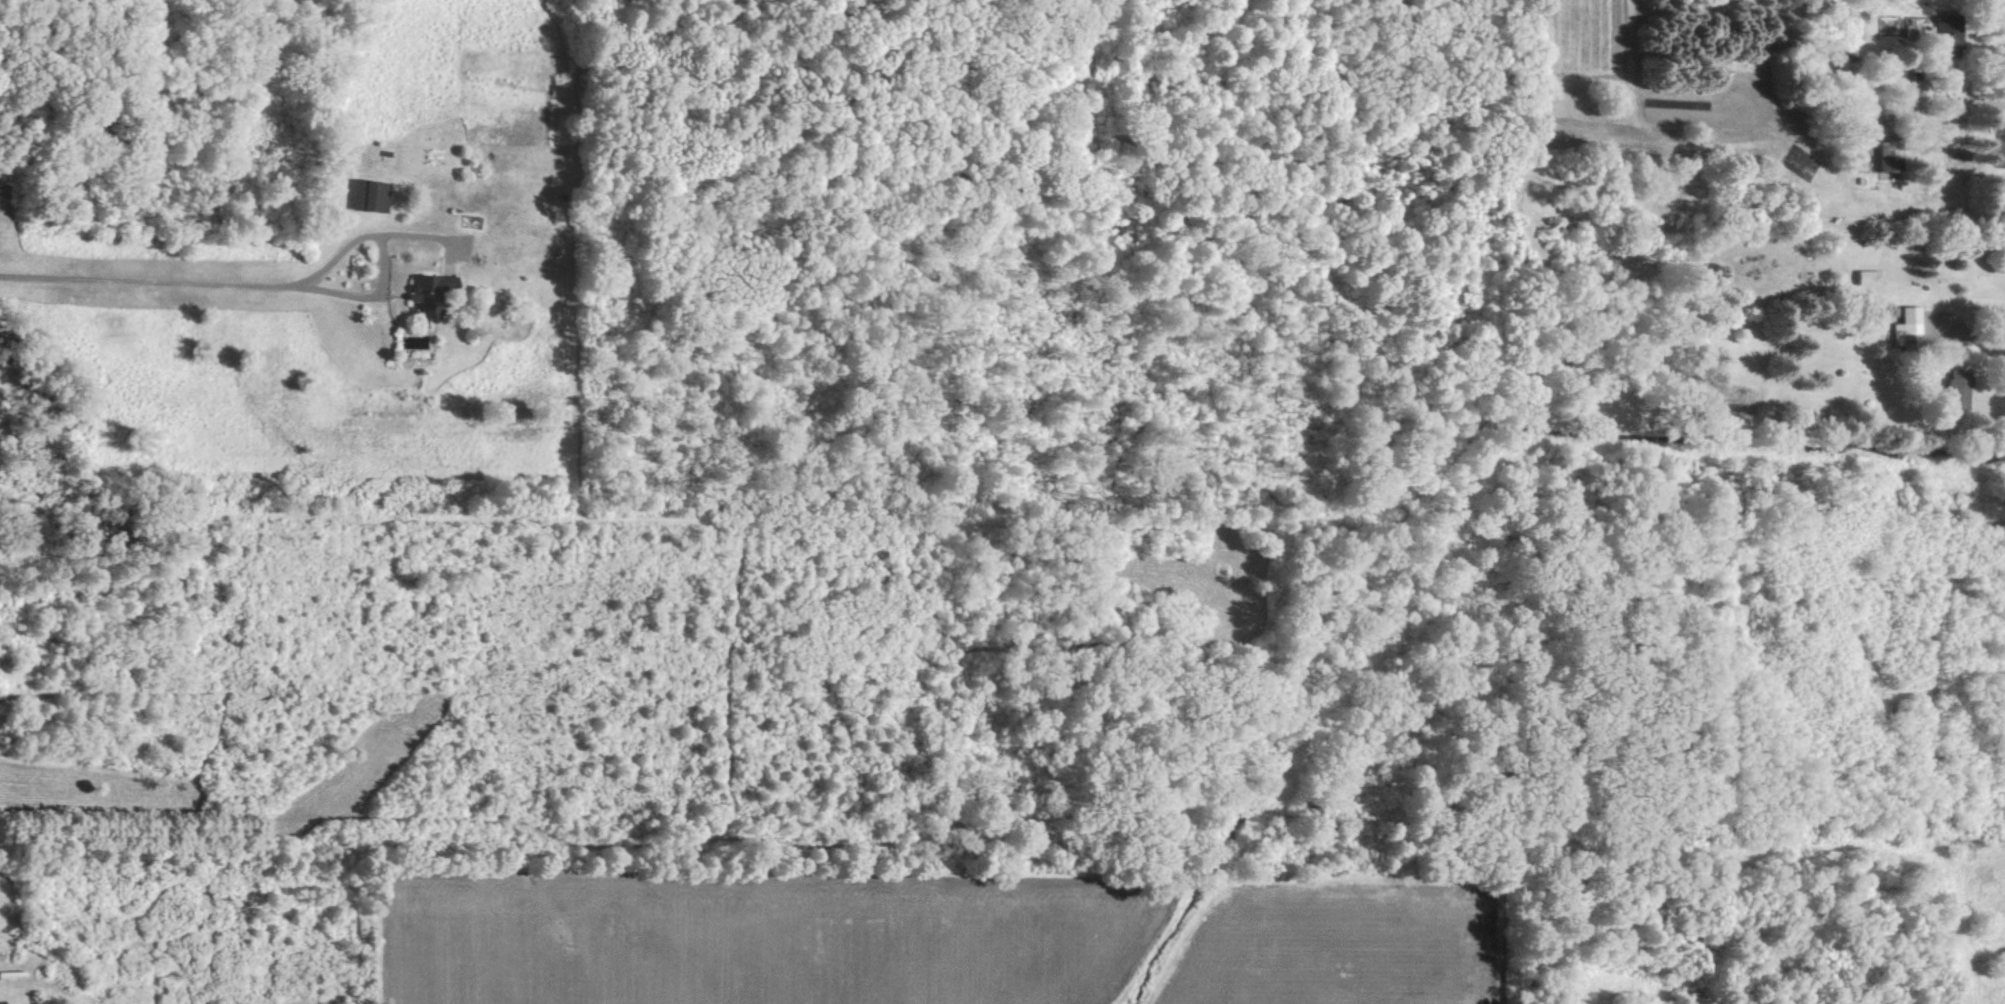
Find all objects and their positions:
building: (1945, 38)
road: (1970, 106)
building: (371, 195)
building: (1869, 277)
road: (225, 282)
building: (427, 287)
building: (1910, 327)
road: (1977, 334)
building: (1959, 392)

